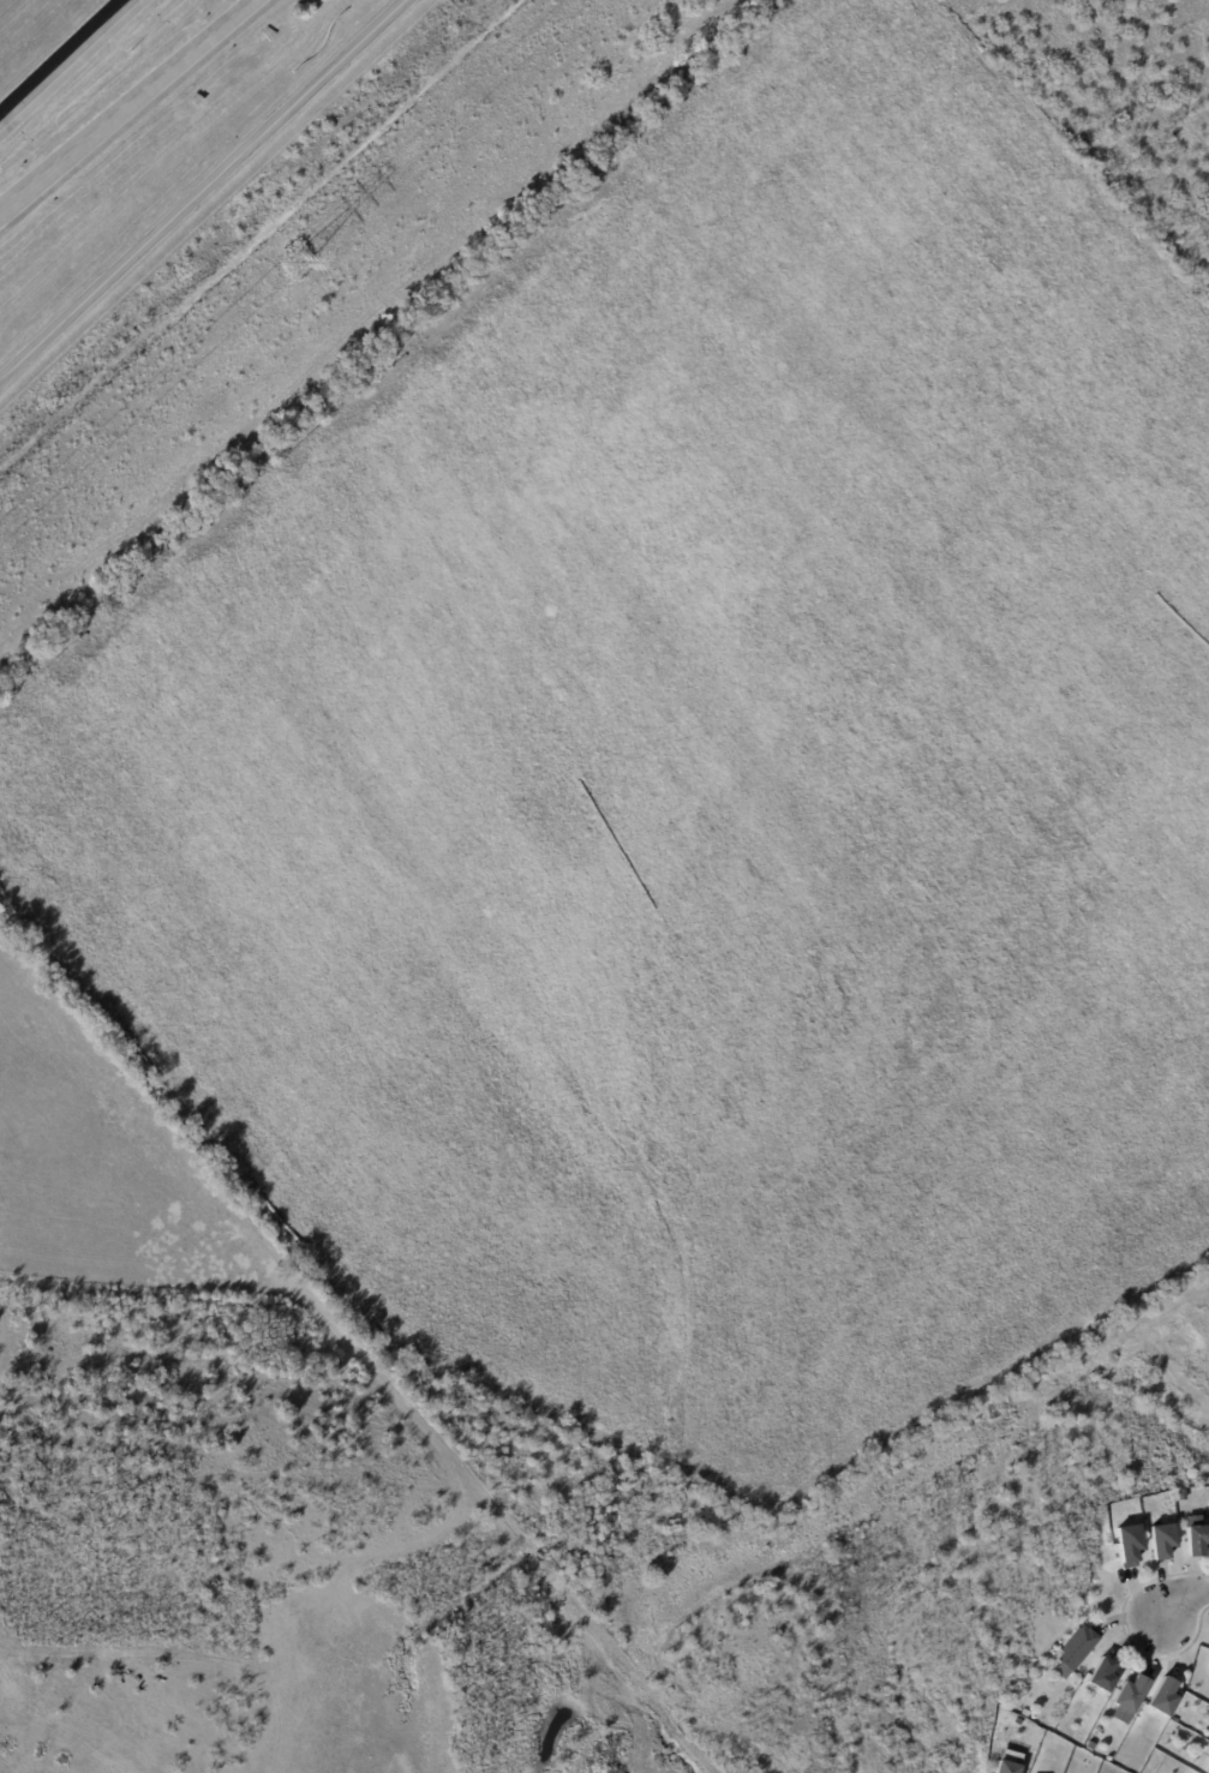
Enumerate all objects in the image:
road: (64, 60)
road: (126, 108)
road: (200, 185)
power tower: (298, 265)
building: (1181, 1496)
building: (1197, 1537)
building: (1163, 1540)
building: (1130, 1545)
road: (1175, 1593)
building: (1077, 1652)
building: (1208, 1665)
building: (1103, 1675)
building: (1130, 1696)
building: (1165, 1696)
building: (1025, 1713)
building: (1018, 1723)
building: (1009, 1768)
building: (1208, 1771)

